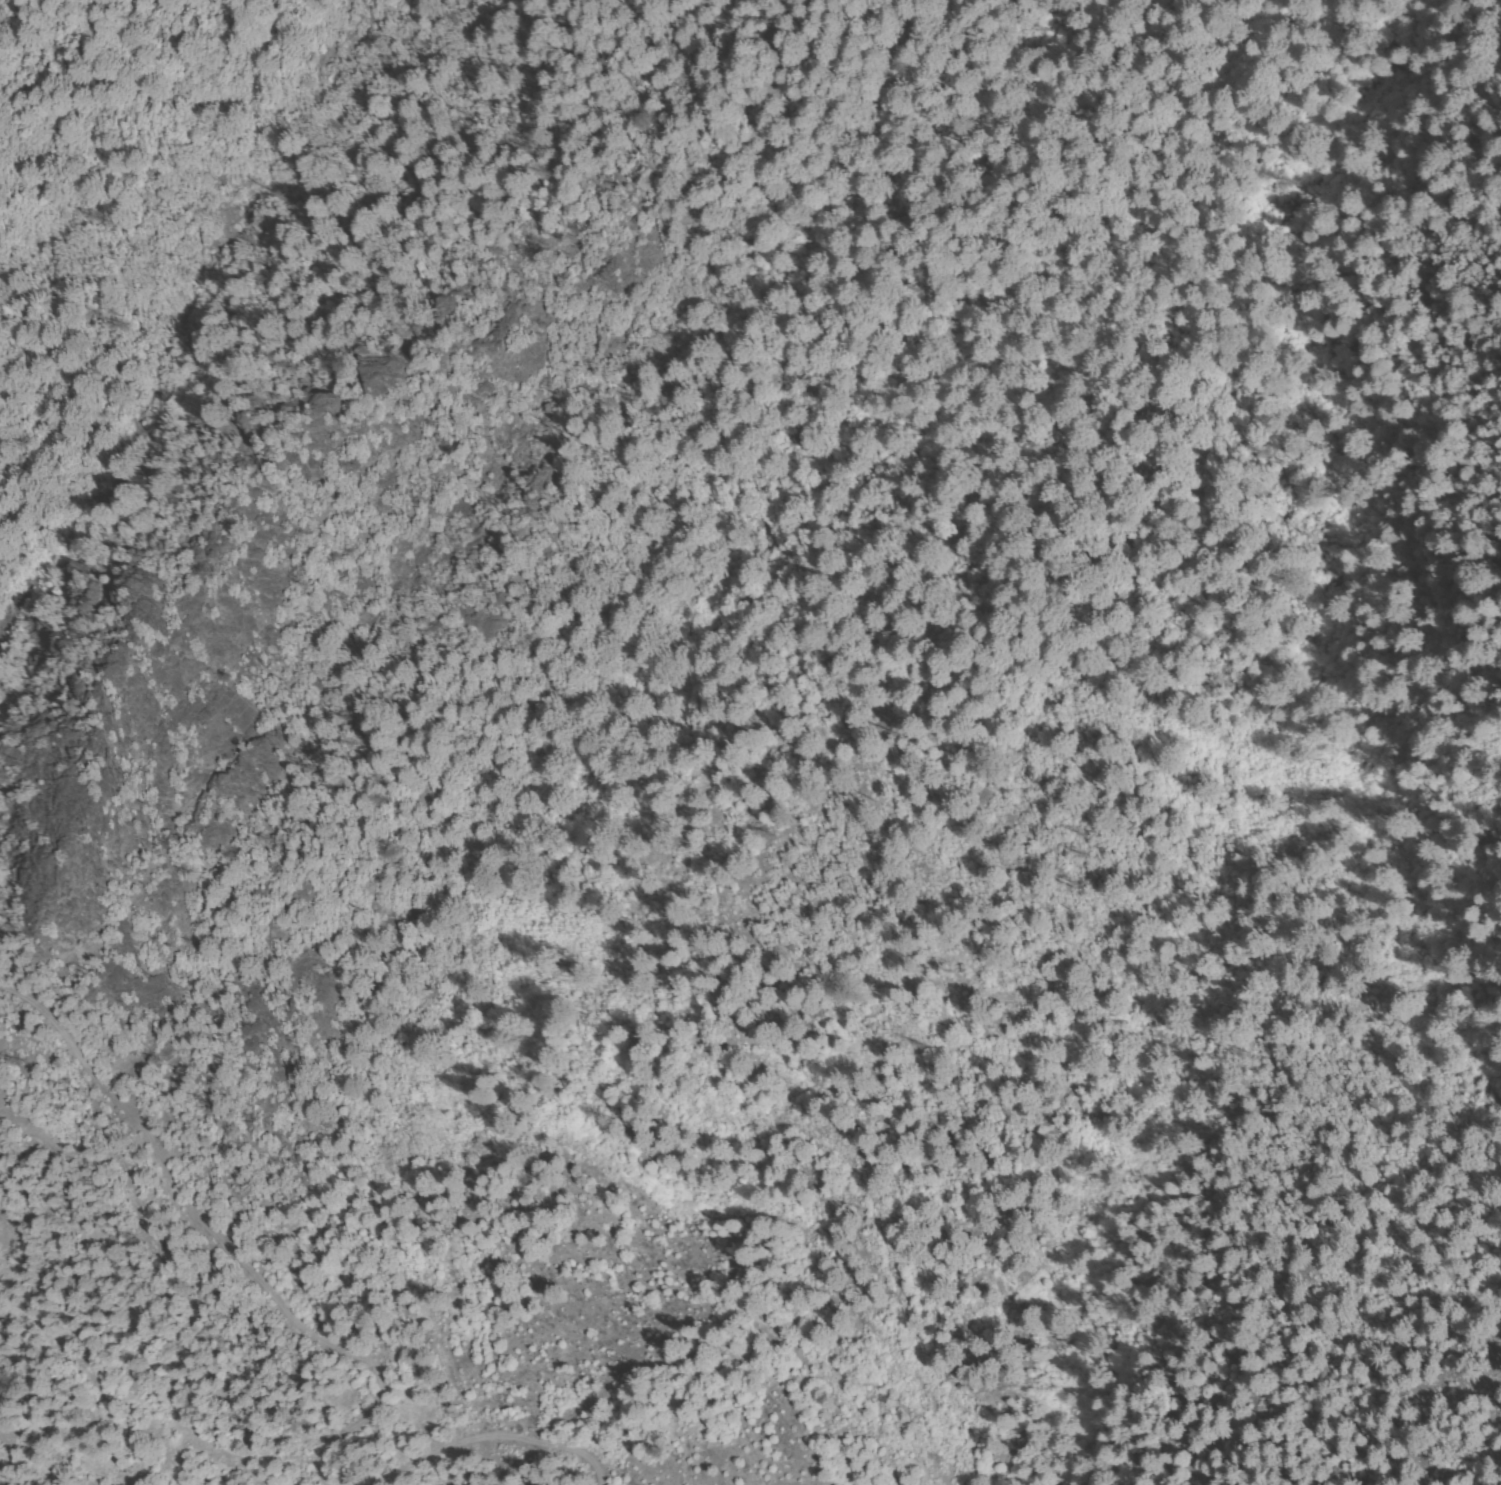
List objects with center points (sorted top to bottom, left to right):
road: (213, 1258)
road: (896, 1259)
road: (489, 1445)

